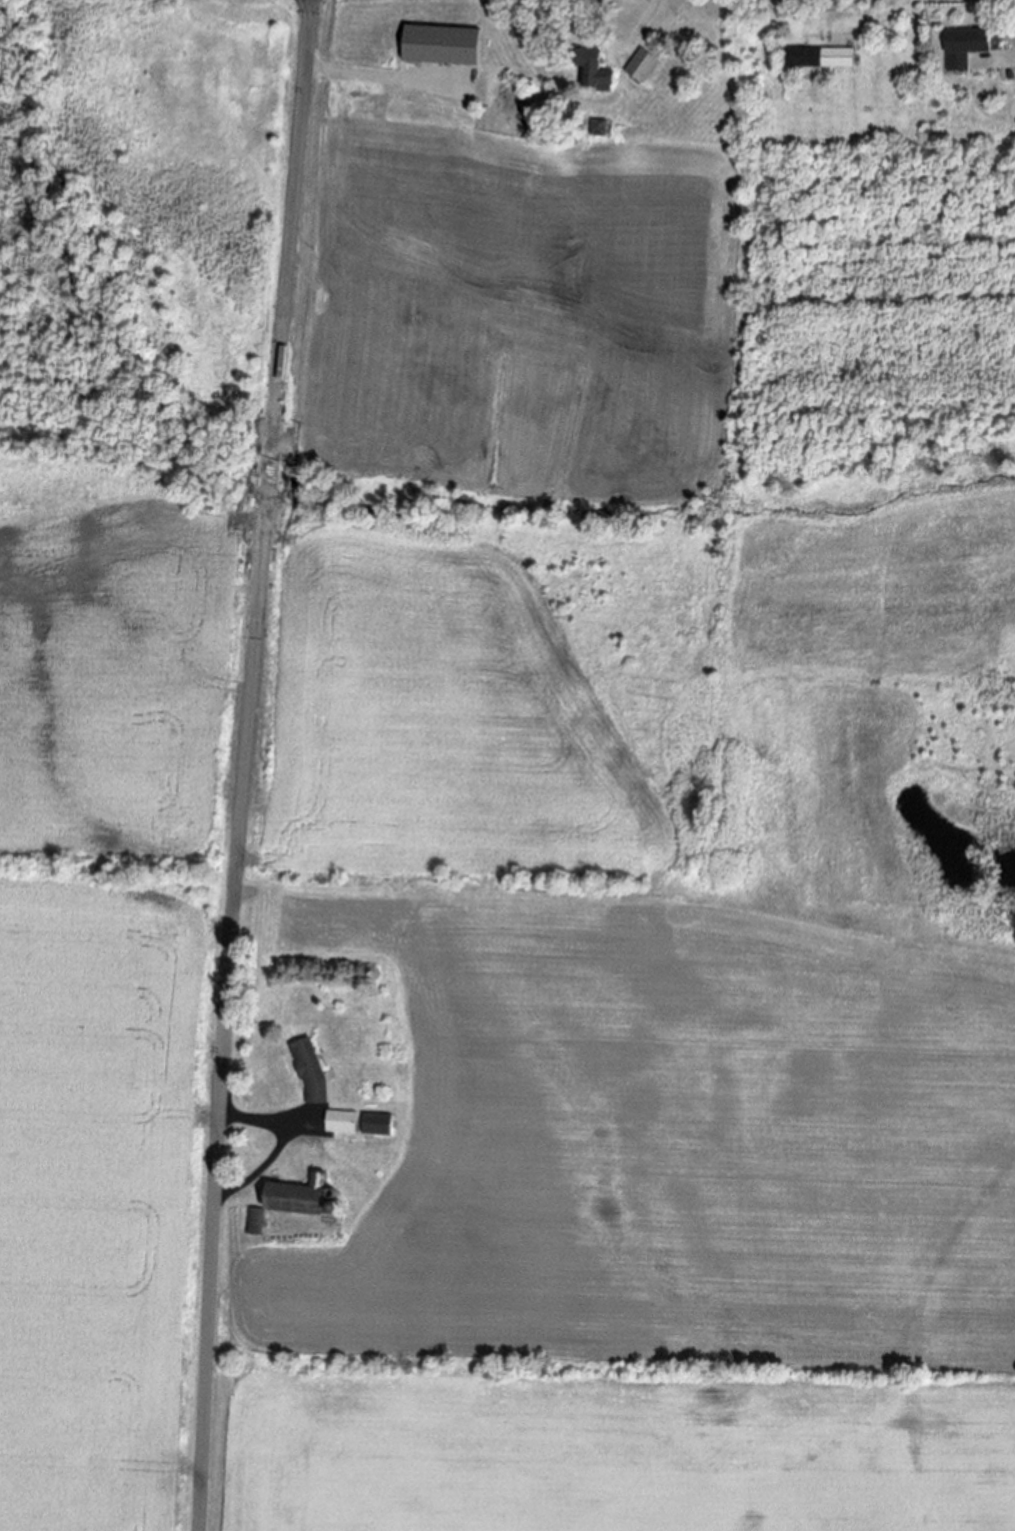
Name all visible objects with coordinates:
road: (641, 22)
road: (878, 22)
building: (450, 36)
building: (963, 43)
building: (818, 59)
building: (638, 66)
building: (592, 72)
building: (392, 80)
building: (602, 129)
road: (246, 764)
building: (308, 1074)
building: (340, 1125)
building: (375, 1126)
road: (279, 1146)
building: (292, 1200)

